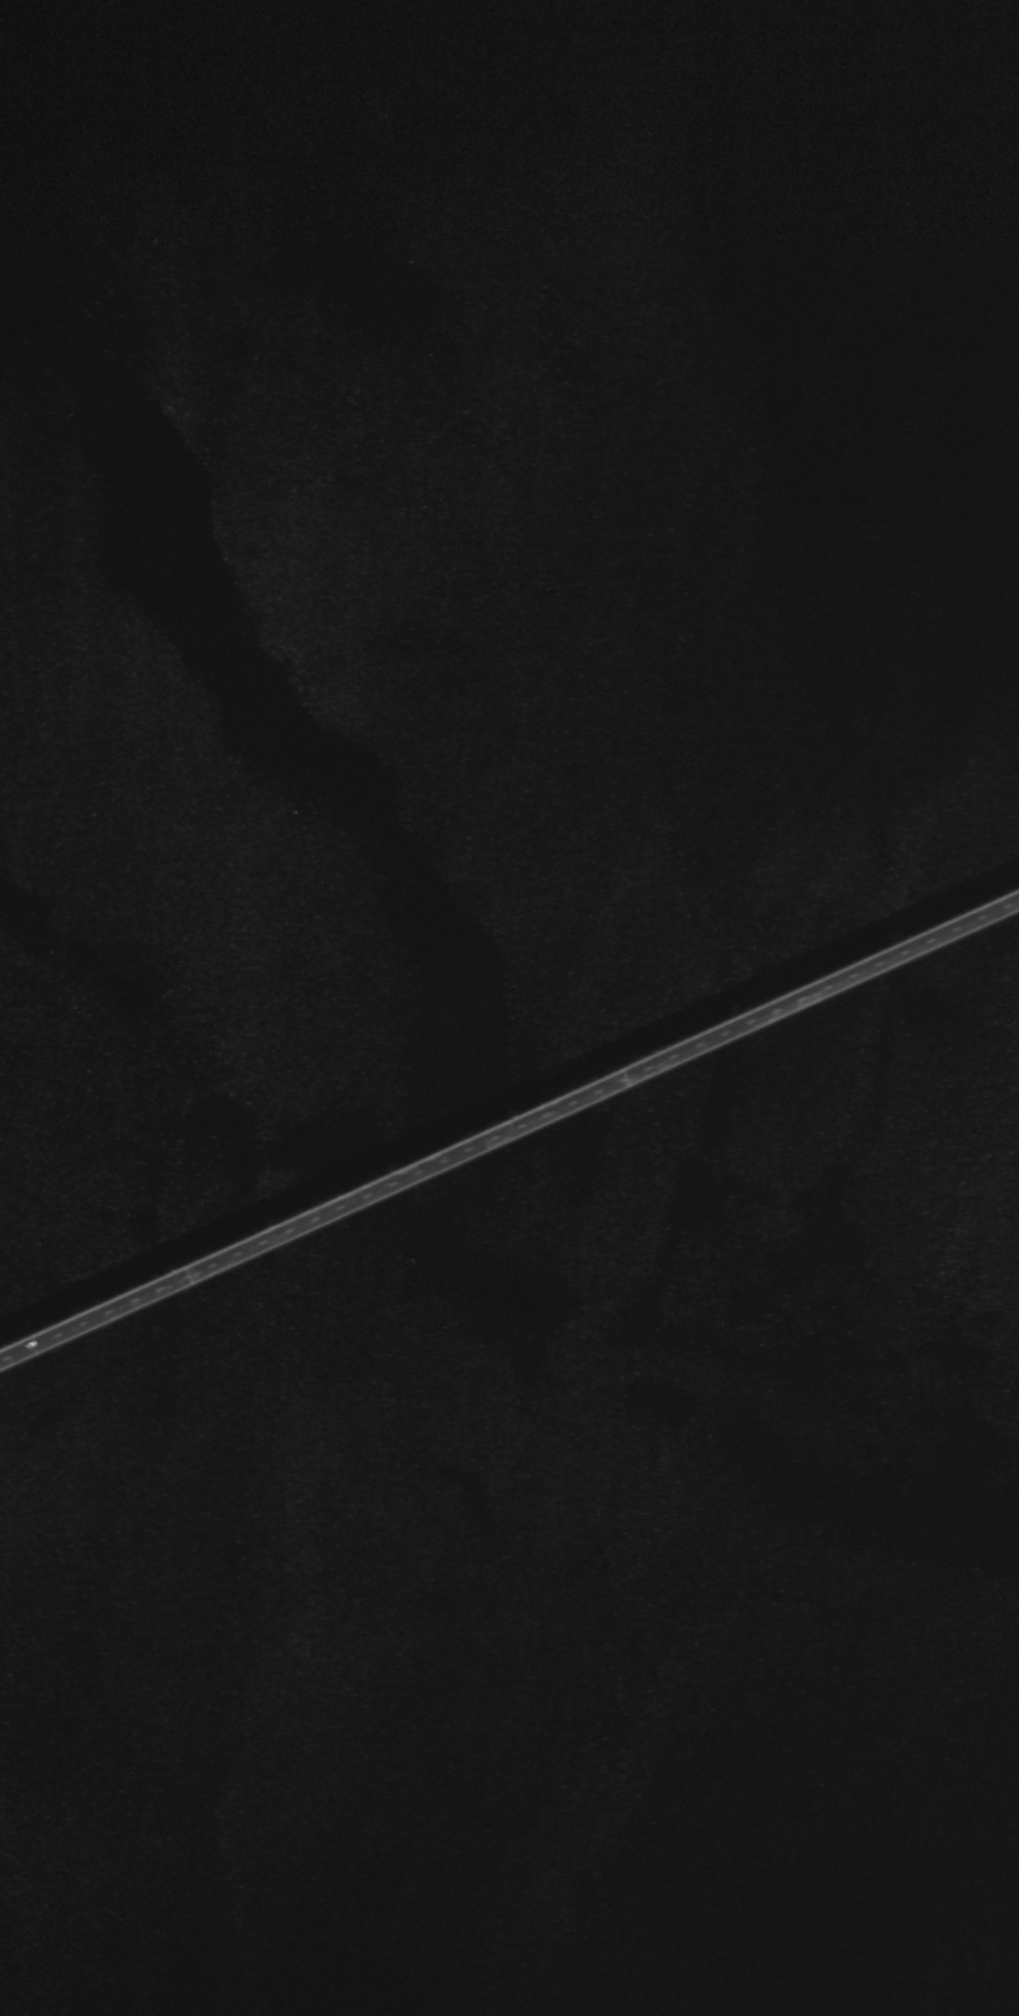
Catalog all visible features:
road: (509, 1133)

